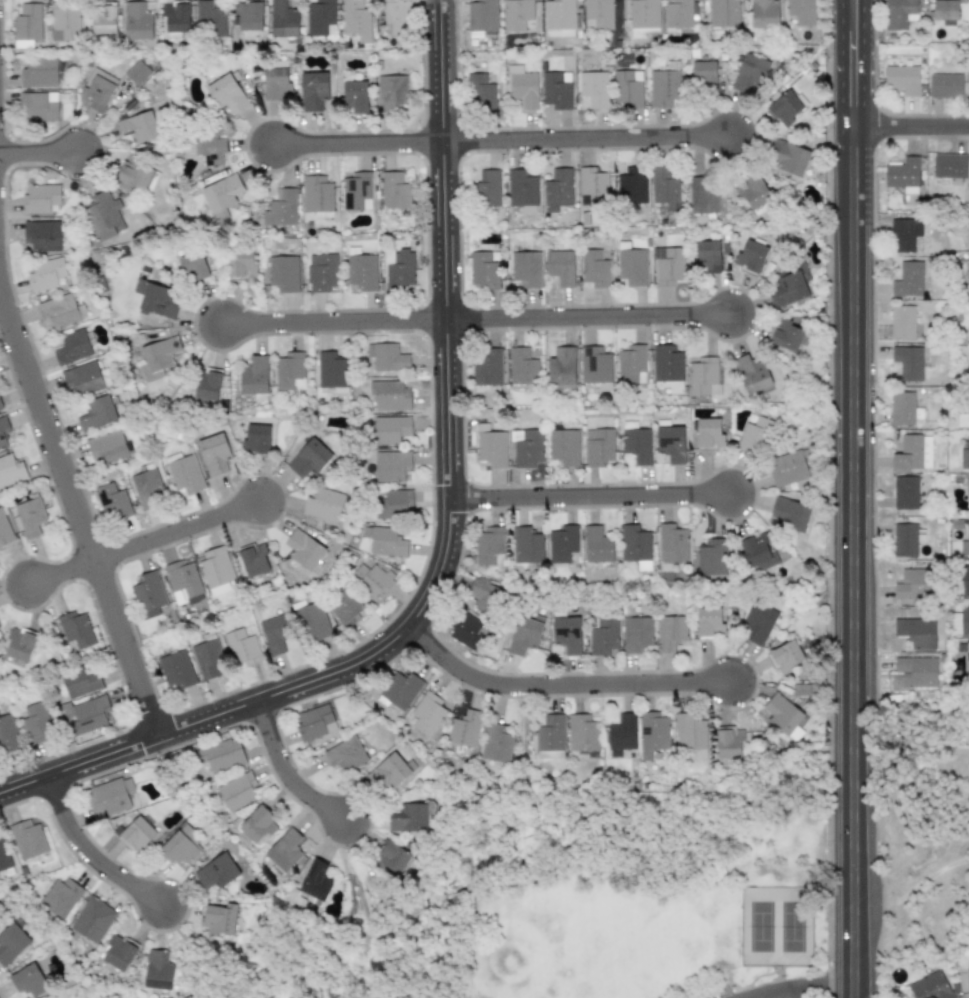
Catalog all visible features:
building: (802, 11)
building: (947, 11)
building: (723, 13)
building: (764, 13)
building: (899, 13)
building: (517, 14)
building: (598, 14)
building: (250, 15)
building: (482, 15)
building: (678, 16)
building: (644, 17)
building: (105, 18)
building: (320, 18)
building: (560, 18)
building: (210, 19)
building: (283, 19)
building: (176, 20)
building: (356, 20)
building: (138, 21)
building: (65, 23)
building: (27, 25)
road: (841, 64)
road: (863, 64)
building: (40, 72)
building: (137, 72)
building: (750, 72)
building: (704, 74)
building: (902, 79)
building: (968, 81)
building: (276, 84)
building: (522, 86)
building: (945, 86)
building: (663, 87)
building: (593, 88)
building: (628, 88)
building: (98, 89)
building: (313, 90)
building: (556, 90)
building: (480, 92)
building: (390, 93)
building: (227, 94)
building: (355, 96)
building: (40, 105)
building: (785, 108)
building: (138, 127)
road: (911, 128)
road: (589, 145)
building: (211, 148)
road: (360, 149)
building: (790, 159)
road: (43, 160)
building: (950, 167)
building: (136, 173)
building: (903, 174)
building: (593, 186)
building: (632, 186)
building: (664, 186)
building: (488, 187)
building: (558, 189)
building: (522, 190)
building: (357, 191)
building: (394, 191)
building: (222, 192)
building: (754, 192)
building: (704, 194)
building: (318, 196)
building: (41, 199)
building: (281, 208)
building: (104, 215)
building: (904, 233)
building: (44, 235)
building: (968, 242)
building: (707, 255)
building: (751, 256)
building: (242, 264)
building: (668, 265)
building: (632, 266)
building: (560, 267)
building: (526, 268)
building: (595, 268)
building: (361, 269)
building: (399, 270)
building: (197, 271)
building: (483, 271)
building: (321, 272)
building: (284, 273)
building: (47, 274)
building: (968, 278)
building: (908, 279)
building: (789, 289)
building: (156, 299)
building: (59, 310)
building: (902, 322)
road: (593, 323)
road: (336, 325)
building: (786, 336)
building: (968, 337)
building: (74, 346)
building: (159, 357)
building: (389, 358)
building: (908, 362)
building: (631, 364)
building: (595, 365)
building: (522, 366)
building: (487, 367)
building: (667, 368)
building: (562, 369)
building: (331, 370)
building: (752, 374)
building: (255, 375)
building: (704, 376)
building: (83, 379)
building: (208, 384)
building: (390, 395)
building: (0, 407)
building: (904, 408)
building: (97, 413)
building: (963, 420)
building: (390, 429)
building: (3, 431)
building: (709, 432)
building: (755, 435)
building: (256, 439)
building: (636, 442)
building: (490, 446)
building: (599, 446)
building: (107, 447)
building: (564, 447)
building: (528, 449)
building: (912, 453)
building: (214, 454)
building: (309, 458)
building: (964, 458)
building: (391, 465)
building: (787, 468)
building: (11, 469)
building: (184, 472)
building: (147, 486)
road: (74, 491)
building: (905, 492)
building: (112, 501)
building: (324, 504)
building: (396, 504)
road: (593, 505)
building: (790, 515)
building: (30, 516)
road: (180, 527)
building: (4, 530)
road: (446, 539)
building: (906, 539)
building: (385, 541)
building: (672, 542)
building: (562, 543)
building: (965, 543)
building: (489, 546)
building: (526, 546)
building: (597, 546)
building: (635, 546)
building: (304, 550)
building: (757, 550)
building: (712, 558)
building: (253, 559)
road: (850, 561)
road: (64, 568)
building: (215, 570)
building: (372, 578)
building: (965, 581)
building: (182, 582)
building: (914, 583)
building: (148, 595)
building: (485, 595)
building: (345, 606)
building: (964, 620)
building: (709, 622)
building: (757, 623)
building: (75, 629)
building: (469, 631)
building: (275, 632)
building: (671, 632)
building: (916, 632)
building: (567, 634)
building: (636, 634)
building: (523, 635)
building: (603, 636)
building: (20, 644)
building: (241, 645)
building: (786, 656)
building: (967, 656)
building: (208, 658)
building: (175, 669)
building: (916, 671)
building: (80, 683)
road: (558, 684)
building: (399, 690)
building: (427, 713)
building: (85, 714)
building: (781, 715)
building: (35, 722)
building: (314, 722)
building: (464, 728)
building: (582, 732)
building: (653, 733)
building: (689, 733)
building: (8, 734)
building: (622, 734)
building: (550, 736)
building: (728, 742)
building: (496, 743)
building: (345, 754)
building: (222, 756)
building: (388, 772)
road: (290, 773)
building: (237, 791)
building: (109, 797)
building: (406, 817)
building: (257, 824)
park: (927, 832)
building: (136, 834)
building: (27, 839)
building: (181, 846)
building: (285, 849)
building: (4, 855)
road: (90, 856)
building: (392, 858)
building: (216, 871)
building: (316, 881)
road: (926, 886)
building: (60, 897)
park: (593, 903)
road: (373, 912)
road: (474, 917)
building: (93, 919)
building: (219, 919)
park: (777, 924)
building: (12, 943)
road: (196, 953)
building: (118, 955)
building: (158, 970)
road: (789, 978)
building: (28, 980)
building: (968, 983)
building: (930, 986)
road: (819, 987)
road: (738, 988)
road: (770, 994)
road: (788, 994)

